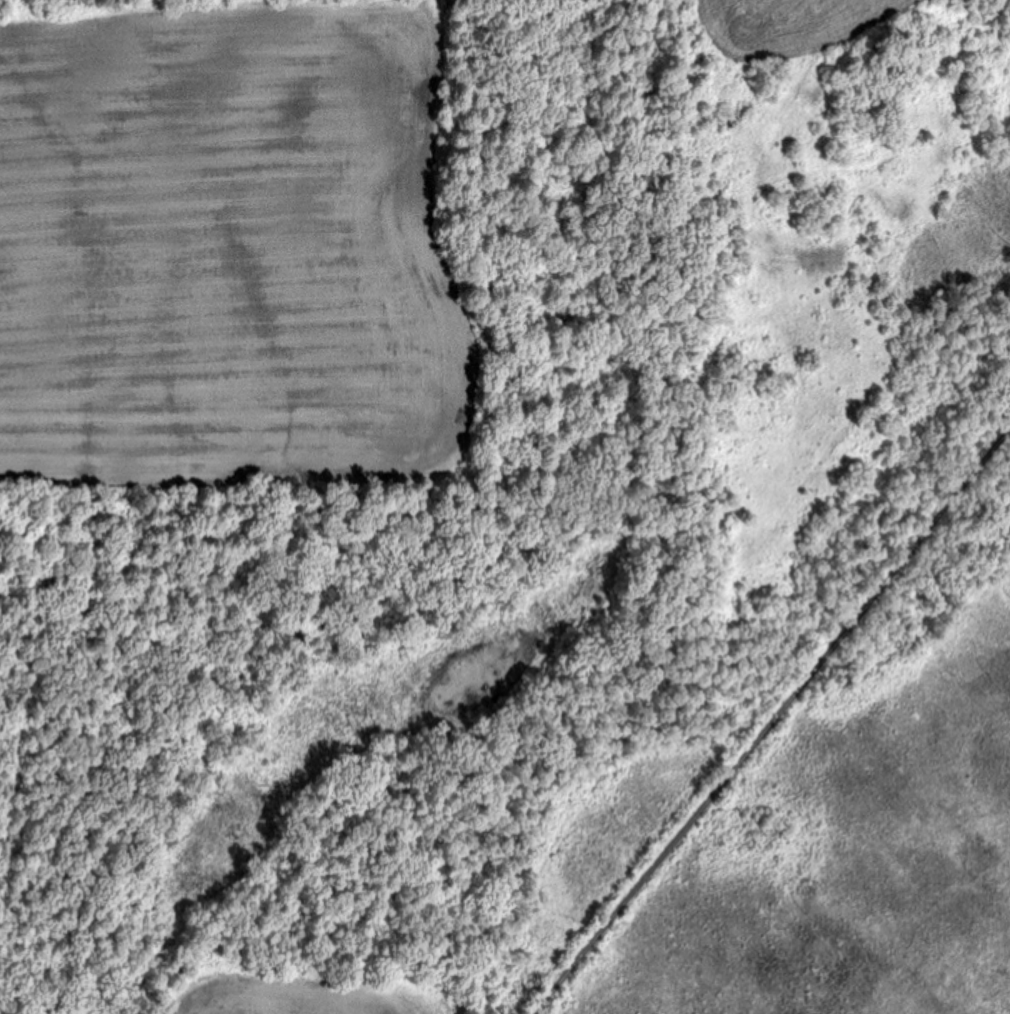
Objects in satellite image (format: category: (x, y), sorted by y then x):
road: (773, 722)

